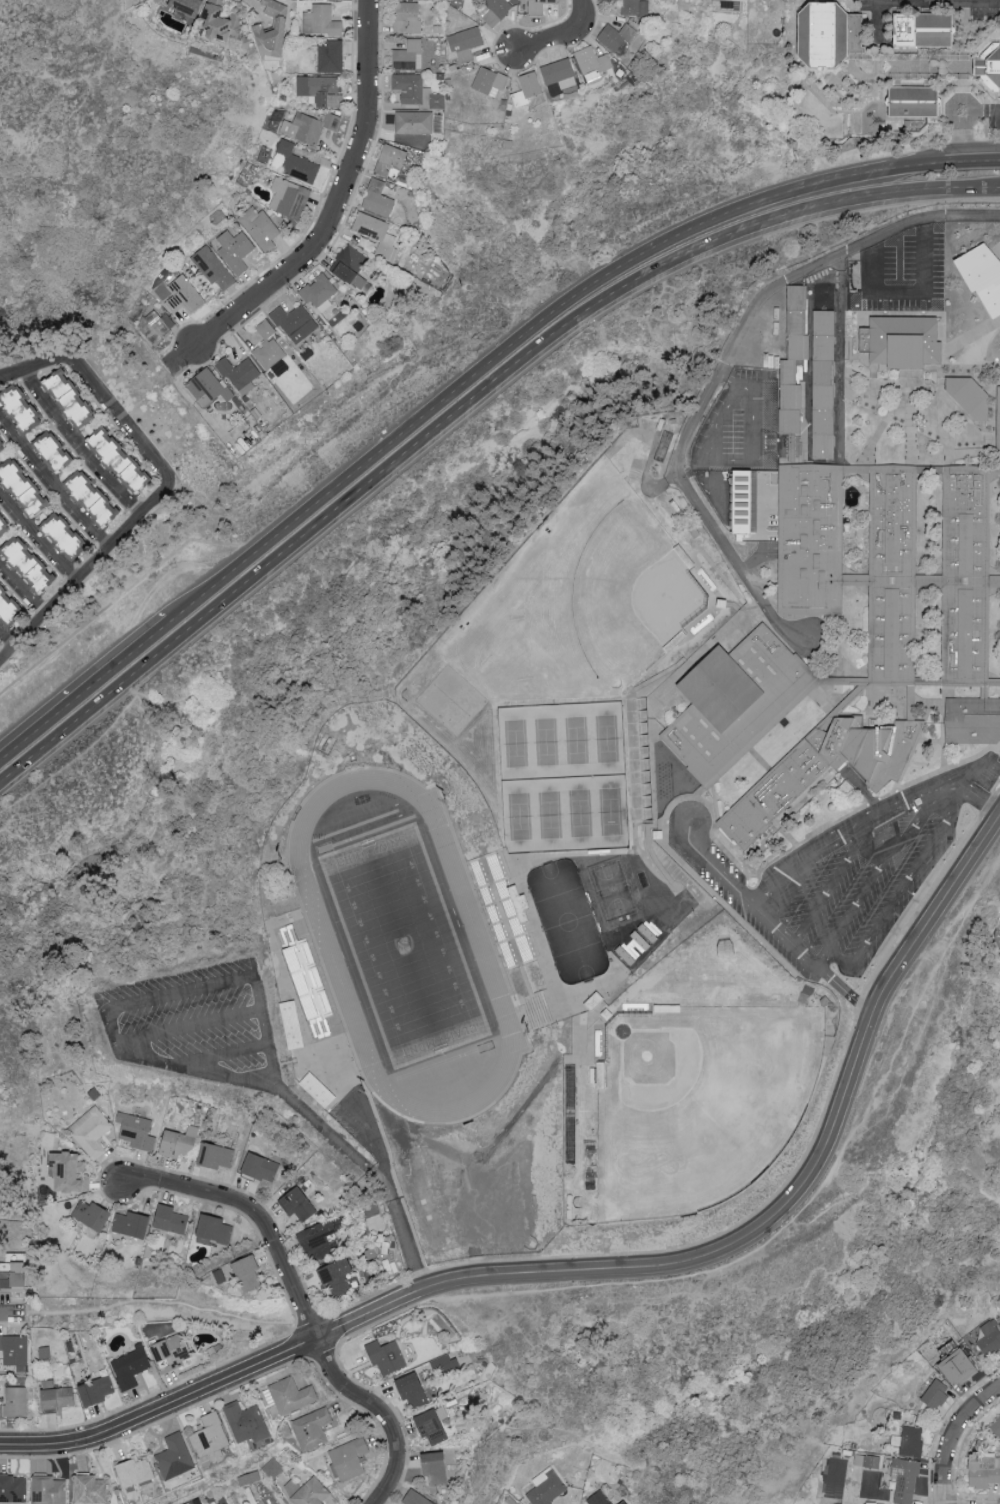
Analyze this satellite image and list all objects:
road: (924, 3)
building: (188, 6)
building: (538, 6)
building: (635, 8)
building: (496, 10)
building: (407, 17)
building: (320, 21)
building: (225, 25)
building: (280, 27)
building: (922, 31)
building: (827, 36)
road: (564, 37)
building: (619, 38)
building: (466, 43)
building: (328, 56)
building: (407, 56)
building: (593, 62)
building: (989, 69)
building: (558, 71)
building: (490, 82)
building: (527, 89)
building: (323, 90)
building: (415, 91)
building: (537, 100)
building: (912, 104)
road: (981, 115)
building: (415, 122)
building: (309, 126)
road: (963, 138)
building: (392, 158)
road: (962, 162)
building: (298, 163)
building: (290, 198)
building: (378, 199)
road: (330, 215)
building: (260, 228)
building: (376, 233)
building: (236, 250)
building: (351, 266)
building: (214, 267)
building: (981, 276)
building: (319, 292)
building: (180, 295)
road: (908, 295)
building: (295, 322)
building: (797, 323)
building: (156, 326)
road: (520, 340)
building: (900, 342)
building: (268, 347)
road: (722, 367)
building: (824, 372)
building: (240, 374)
building: (208, 388)
building: (972, 396)
building: (72, 398)
road: (759, 399)
building: (789, 399)
building: (21, 408)
road: (466, 411)
building: (998, 415)
road: (718, 421)
road: (78, 445)
building: (1, 448)
building: (55, 451)
building: (122, 460)
road: (50, 486)
building: (24, 487)
road: (164, 488)
building: (94, 497)
building: (745, 502)
building: (4, 525)
road: (38, 536)
building: (66, 537)
building: (31, 564)
building: (896, 574)
park: (570, 585)
road: (21, 590)
park: (637, 599)
building: (10, 607)
road: (5, 643)
road: (83, 686)
building: (738, 699)
building: (976, 724)
road: (973, 775)
building: (827, 777)
park: (563, 780)
road: (922, 797)
road: (863, 850)
road: (719, 874)
parking lot: (847, 876)
road: (872, 879)
road: (903, 888)
road: (826, 895)
road: (779, 899)
building: (636, 945)
park: (404, 947)
track: (404, 947)
road: (255, 993)
road: (180, 994)
road: (846, 994)
building: (293, 1024)
parking lot: (196, 1026)
road: (188, 1029)
road: (111, 1030)
road: (226, 1057)
road: (227, 1076)
building: (318, 1089)
park: (683, 1103)
building: (91, 1130)
building: (137, 1131)
building: (49, 1137)
building: (180, 1142)
building: (216, 1155)
building: (262, 1167)
building: (70, 1172)
road: (368, 1174)
road: (809, 1184)
building: (298, 1204)
building: (93, 1214)
building: (171, 1219)
building: (132, 1224)
building: (215, 1228)
building: (319, 1240)
building: (249, 1273)
building: (337, 1276)
road: (301, 1304)
road: (10, 1316)
road: (370, 1317)
building: (990, 1338)
building: (14, 1349)
building: (173, 1352)
building: (387, 1357)
building: (446, 1365)
building: (960, 1366)
building: (130, 1367)
building: (414, 1390)
building: (97, 1391)
building: (937, 1393)
building: (291, 1395)
building: (59, 1398)
building: (14, 1402)
road: (163, 1411)
building: (246, 1422)
building: (996, 1425)
building: (432, 1426)
building: (312, 1428)
road: (952, 1435)
building: (211, 1438)
building: (911, 1441)
building: (175, 1456)
building: (349, 1458)
building: (866, 1460)
building: (272, 1468)
building: (436, 1468)
building: (984, 1470)
building: (135, 1471)
building: (905, 1479)
building: (547, 1487)
building: (13, 1488)
building: (49, 1489)
building: (92, 1489)
building: (307, 1491)
building: (416, 1498)
building: (599, 1498)

